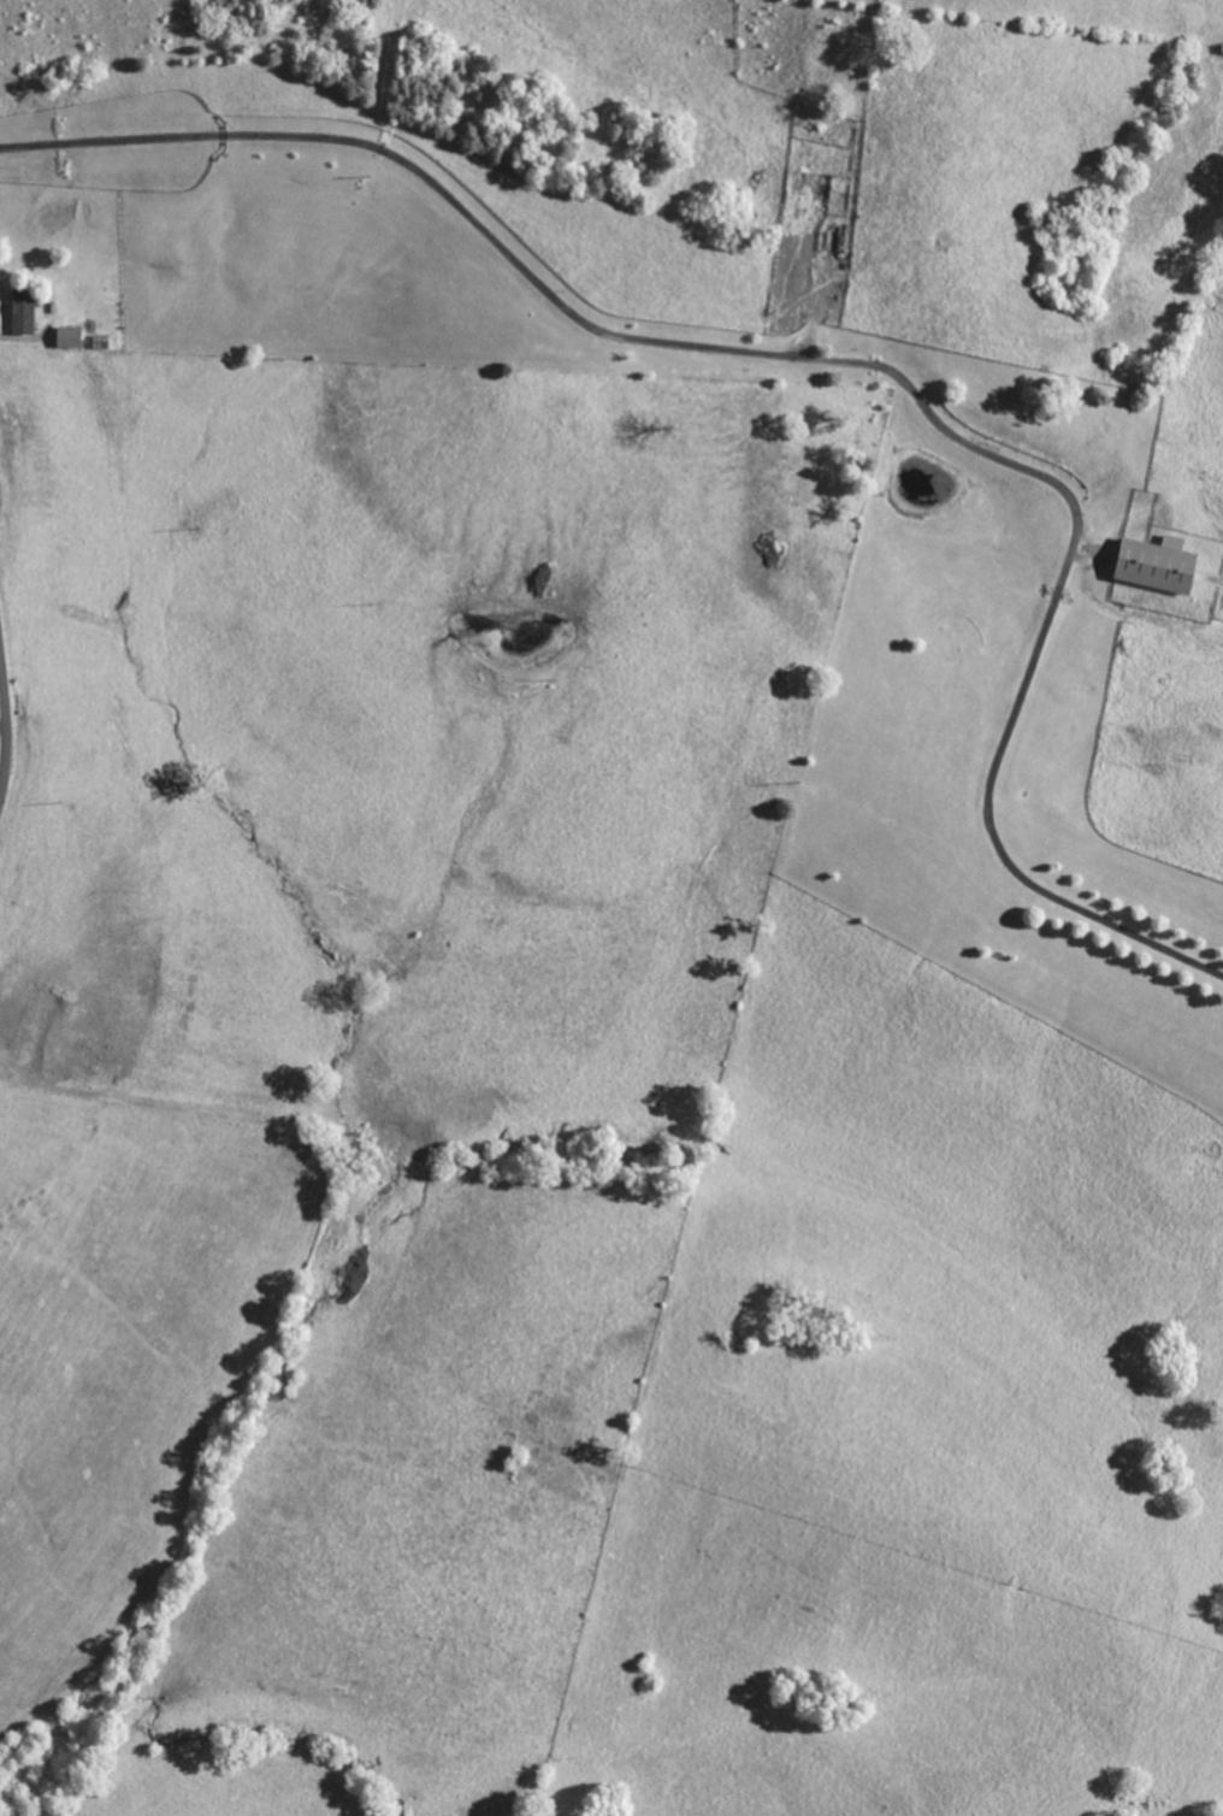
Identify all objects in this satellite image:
building: (24, 312)
building: (69, 338)
building: (1158, 566)
road: (10, 708)

